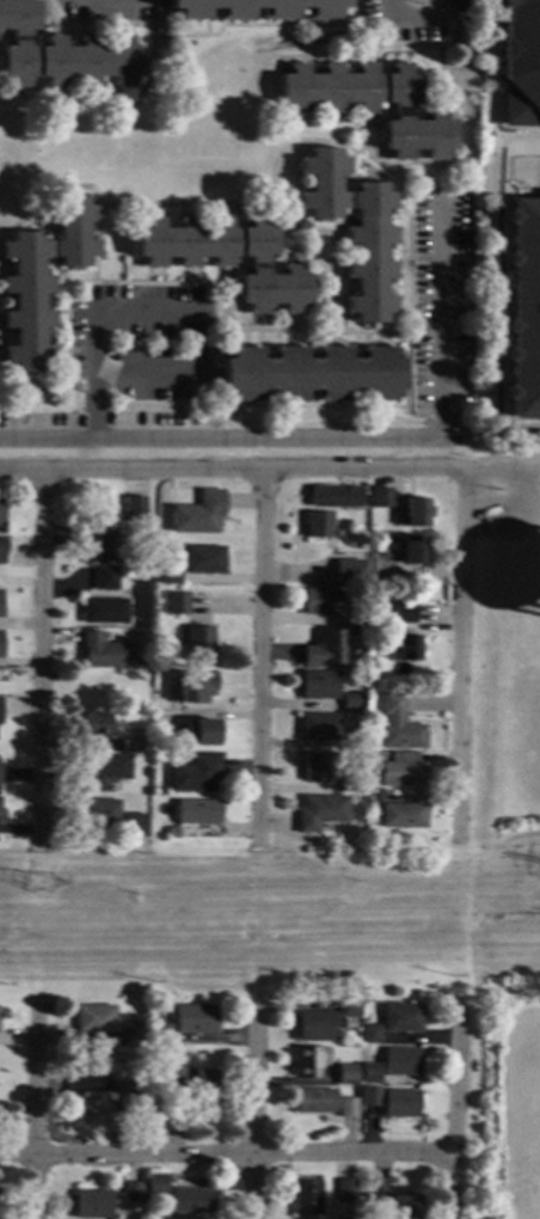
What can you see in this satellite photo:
building: (260, 8)
road: (416, 18)
road: (270, 24)
road: (84, 29)
road: (97, 29)
road: (62, 30)
road: (38, 31)
road: (380, 31)
road: (5, 38)
road: (378, 44)
building: (62, 54)
building: (521, 63)
road: (495, 68)
road: (148, 75)
road: (427, 100)
building: (373, 104)
road: (443, 104)
road: (427, 106)
road: (385, 115)
road: (521, 134)
road: (331, 140)
road: (361, 158)
road: (368, 170)
road: (528, 170)
road: (363, 177)
road: (538, 184)
road: (436, 195)
road: (201, 203)
road: (32, 221)
road: (43, 225)
building: (355, 231)
road: (331, 238)
road: (99, 243)
road: (283, 256)
building: (228, 258)
road: (424, 263)
road: (56, 271)
road: (403, 276)
building: (42, 278)
road: (111, 282)
road: (498, 300)
road: (208, 305)
building: (522, 310)
road: (238, 311)
road: (152, 313)
road: (324, 330)
road: (430, 333)
road: (160, 373)
building: (312, 374)
road: (99, 378)
road: (51, 382)
road: (178, 403)
road: (326, 405)
road: (343, 436)
road: (530, 467)
road: (492, 468)
road: (231, 472)
road: (484, 486)
building: (333, 497)
building: (381, 498)
building: (134, 507)
road: (522, 508)
building: (1, 513)
building: (197, 514)
building: (417, 514)
building: (317, 525)
building: (106, 543)
building: (1, 550)
building: (413, 551)
building: (203, 561)
building: (383, 565)
building: (349, 570)
building: (168, 577)
building: (106, 580)
building: (325, 602)
building: (0, 604)
building: (177, 604)
building: (105, 612)
building: (370, 612)
building: (404, 612)
building: (360, 620)
building: (198, 644)
building: (0, 645)
building: (324, 649)
building: (405, 649)
building: (104, 653)
road: (460, 654)
road: (262, 657)
road: (45, 658)
building: (320, 685)
building: (194, 688)
building: (352, 702)
building: (0, 703)
building: (393, 705)
building: (98, 724)
building: (319, 727)
building: (201, 733)
building: (403, 737)
building: (352, 741)
building: (157, 745)
building: (131, 746)
building: (376, 756)
building: (315, 767)
building: (103, 771)
building: (401, 772)
building: (195, 774)
building: (350, 785)
building: (197, 813)
building: (321, 813)
building: (99, 814)
building: (401, 815)
building: (136, 829)
building: (172, 833)
power tower: (42, 889)
road: (270, 912)
building: (348, 1011)
building: (139, 1018)
building: (94, 1019)
building: (196, 1019)
building: (400, 1019)
building: (346, 1025)
building: (315, 1027)
building: (133, 1034)
building: (160, 1034)
building: (369, 1035)
building: (2, 1060)
building: (401, 1062)
building: (307, 1064)
building: (118, 1071)
building: (173, 1074)
building: (346, 1074)
building: (369, 1074)
building: (207, 1083)
park: (536, 1088)
building: (369, 1096)
building: (88, 1097)
building: (315, 1102)
building: (130, 1104)
building: (400, 1104)
building: (348, 1108)
road: (453, 1111)
road: (35, 1114)
road: (251, 1114)
road: (226, 1156)
building: (155, 1184)
building: (345, 1190)
building: (131, 1193)
building: (306, 1199)
building: (190, 1201)
building: (92, 1205)
building: (394, 1207)

